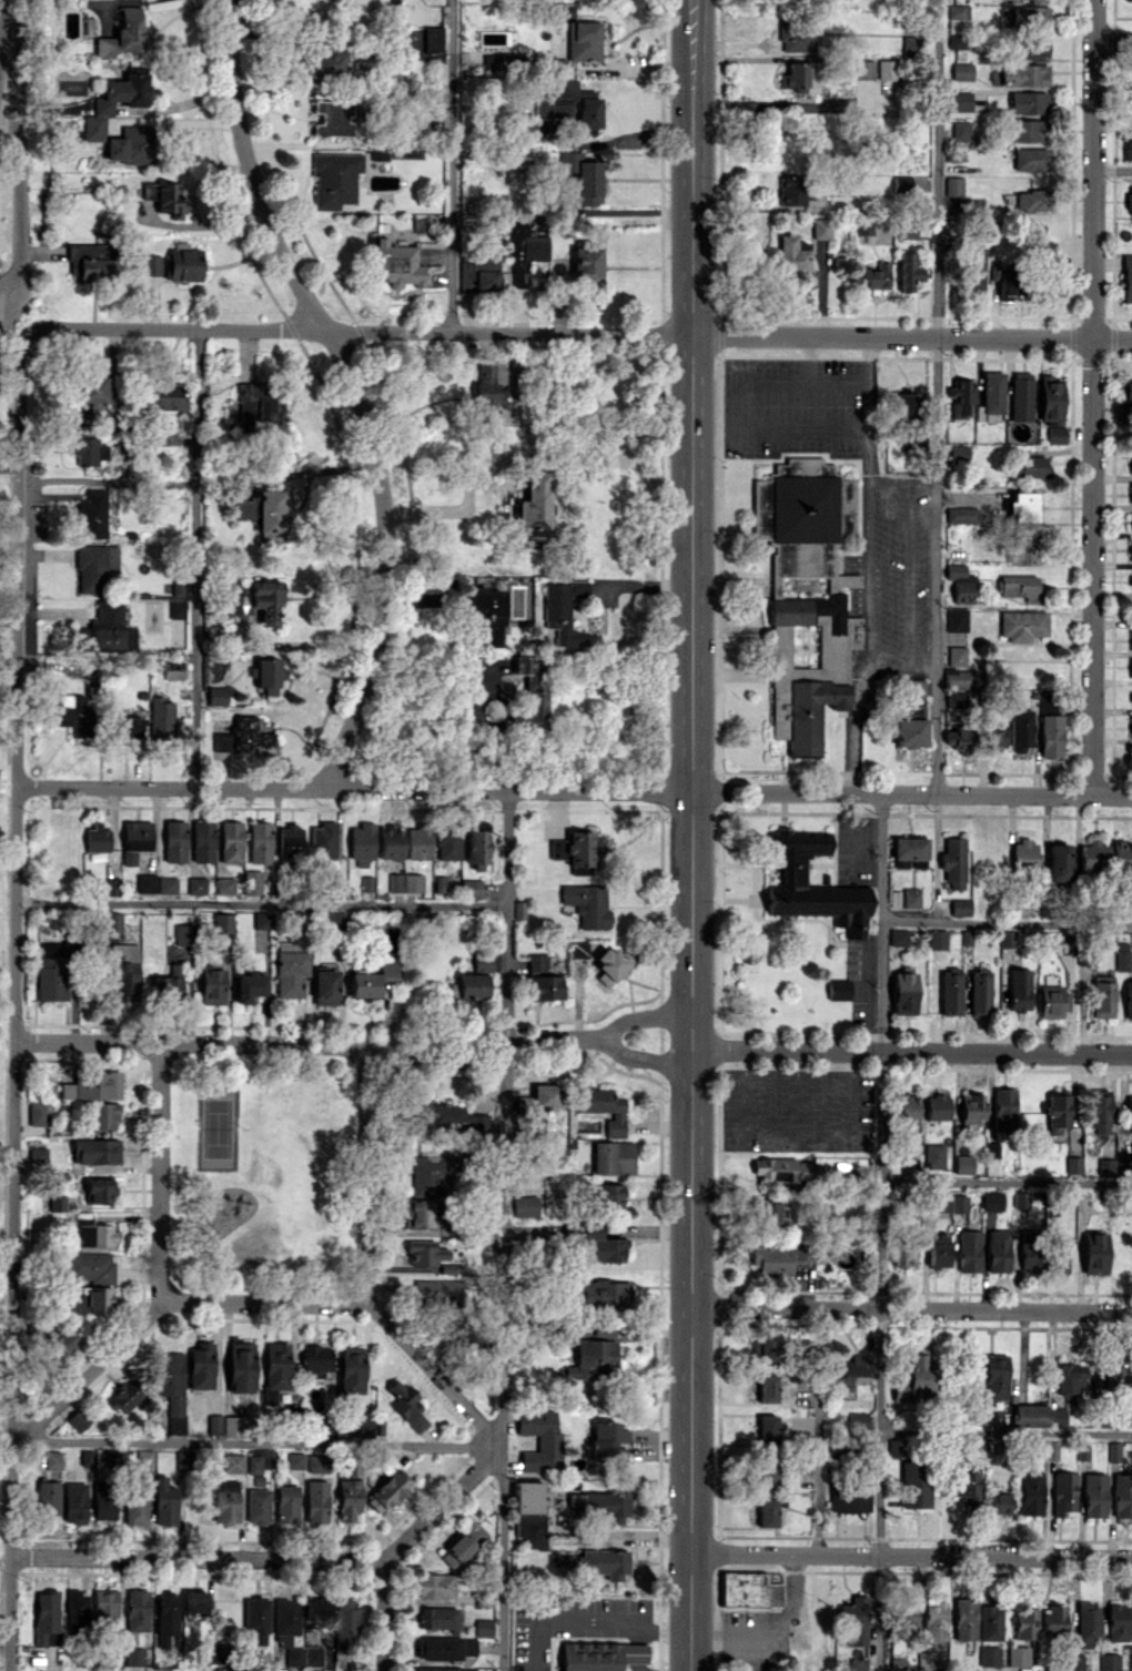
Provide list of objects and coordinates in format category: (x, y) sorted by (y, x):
building: (1129, 0)
building: (1035, 1)
building: (958, 11)
building: (1029, 16)
building: (121, 34)
building: (796, 34)
building: (492, 38)
building: (433, 39)
road: (1113, 39)
road: (3, 41)
building: (584, 41)
building: (958, 41)
building: (911, 44)
building: (1032, 49)
building: (327, 63)
building: (865, 69)
building: (887, 69)
building: (961, 71)
building: (1023, 74)
building: (798, 79)
road: (1, 85)
building: (957, 100)
building: (1028, 101)
building: (102, 107)
building: (588, 112)
building: (332, 118)
building: (961, 130)
building: (1027, 130)
building: (131, 144)
building: (1128, 149)
building: (1030, 159)
road: (452, 166)
road: (1113, 169)
building: (334, 179)
building: (587, 182)
building: (911, 183)
building: (953, 185)
road: (16, 190)
building: (791, 190)
building: (165, 198)
building: (1028, 200)
building: (1129, 200)
road: (630, 209)
road: (195, 223)
building: (865, 226)
building: (821, 227)
building: (908, 230)
building: (525, 252)
building: (791, 253)
building: (90, 260)
building: (396, 263)
building: (151, 264)
building: (184, 264)
building: (586, 264)
building: (908, 272)
building: (478, 274)
building: (875, 275)
building: (973, 275)
building: (1128, 277)
building: (1004, 282)
building: (1052, 282)
road: (357, 332)
road: (911, 336)
building: (485, 383)
road: (776, 384)
road: (840, 384)
road: (353, 387)
building: (92, 388)
building: (1125, 389)
building: (165, 394)
road: (937, 396)
building: (991, 396)
building: (1021, 396)
road: (1092, 396)
building: (961, 397)
building: (1050, 399)
building: (906, 405)
building: (1123, 413)
road: (779, 426)
building: (1055, 434)
building: (88, 449)
building: (959, 453)
building: (1131, 464)
building: (1031, 466)
road: (312, 469)
road: (886, 478)
road: (921, 479)
road: (107, 483)
building: (1131, 493)
building: (1022, 505)
building: (533, 506)
building: (263, 513)
building: (92, 514)
building: (962, 515)
building: (1131, 521)
building: (1023, 546)
building: (1131, 550)
road: (194, 557)
road: (17, 558)
road: (865, 565)
building: (91, 568)
road: (907, 575)
building: (960, 577)
building: (178, 586)
building: (1018, 586)
building: (806, 594)
building: (266, 599)
building: (176, 608)
building: (109, 611)
building: (563, 611)
building: (489, 617)
building: (957, 619)
building: (1022, 625)
building: (100, 636)
building: (1131, 639)
building: (957, 656)
building: (1131, 668)
building: (173, 669)
road: (888, 672)
building: (266, 675)
building: (960, 678)
building: (914, 687)
building: (216, 695)
building: (534, 697)
building: (916, 711)
building: (73, 715)
building: (161, 718)
building: (128, 726)
building: (1131, 726)
building: (1020, 730)
building: (909, 731)
building: (1051, 735)
building: (995, 736)
building: (249, 737)
building: (960, 738)
building: (222, 741)
road: (574, 789)
road: (693, 835)
building: (97, 837)
building: (134, 839)
building: (290, 840)
building: (323, 840)
building: (174, 841)
building: (203, 841)
building: (231, 841)
building: (260, 841)
building: (418, 841)
building: (390, 842)
road: (16, 843)
building: (447, 844)
building: (476, 847)
road: (933, 848)
building: (574, 851)
building: (909, 851)
building: (1121, 851)
building: (1023, 853)
building: (1093, 855)
building: (1058, 861)
building: (953, 862)
building: (790, 870)
building: (252, 882)
building: (394, 882)
building: (413, 882)
building: (145, 883)
building: (168, 884)
building: (196, 885)
building: (224, 885)
building: (472, 888)
building: (896, 897)
building: (910, 898)
road: (262, 903)
building: (587, 903)
building: (960, 907)
building: (263, 919)
building: (113, 922)
building: (222, 922)
road: (1007, 922)
building: (183, 933)
building: (898, 936)
building: (964, 936)
building: (1007, 938)
building: (937, 939)
building: (1065, 944)
building: (578, 949)
building: (1122, 955)
building: (482, 962)
building: (537, 962)
building: (609, 964)
building: (291, 968)
road: (16, 971)
building: (51, 971)
building: (124, 972)
building: (372, 980)
building: (170, 981)
building: (211, 983)
building: (469, 985)
building: (249, 986)
building: (325, 986)
building: (545, 986)
building: (838, 989)
building: (1019, 989)
building: (950, 991)
building: (979, 991)
building: (903, 993)
building: (1102, 995)
building: (1128, 999)
building: (1052, 1000)
road: (647, 1016)
road: (314, 1043)
road: (911, 1051)
road: (647, 1056)
building: (92, 1085)
building: (546, 1095)
building: (603, 1106)
building: (936, 1106)
building: (971, 1107)
building: (1004, 1108)
building: (1129, 1110)
building: (1057, 1111)
building: (38, 1112)
building: (907, 1113)
building: (1098, 1113)
building: (103, 1116)
park: (219, 1127)
building: (95, 1151)
building: (38, 1155)
building: (613, 1156)
building: (933, 1156)
building: (1124, 1162)
building: (962, 1164)
building: (1073, 1164)
building: (1105, 1166)
building: (784, 1169)
building: (838, 1169)
road: (162, 1171)
park: (262, 1172)
road: (365, 1173)
building: (433, 1173)
road: (1005, 1183)
building: (99, 1191)
building: (606, 1195)
building: (1020, 1198)
building: (992, 1201)
building: (948, 1202)
building: (57, 1203)
building: (525, 1205)
building: (769, 1213)
building: (417, 1214)
building: (487, 1227)
road: (505, 1229)
road: (880, 1232)
building: (95, 1235)
road: (14, 1239)
building: (600, 1246)
building: (998, 1249)
building: (1030, 1249)
building: (938, 1250)
building: (968, 1250)
building: (425, 1253)
building: (1094, 1253)
building: (903, 1255)
building: (1060, 1256)
building: (771, 1259)
building: (90, 1267)
building: (446, 1267)
building: (436, 1292)
building: (605, 1293)
building: (91, 1300)
road: (263, 1300)
road: (911, 1308)
building: (62, 1343)
building: (765, 1344)
building: (315, 1358)
building: (594, 1358)
building: (241, 1365)
building: (200, 1366)
building: (352, 1368)
road: (88, 1369)
building: (275, 1369)
road: (434, 1373)
building: (848, 1374)
building: (995, 1376)
building: (1069, 1377)
building: (1113, 1377)
building: (913, 1378)
building: (171, 1387)
building: (767, 1387)
building: (124, 1396)
building: (406, 1405)
building: (1029, 1415)
building: (1057, 1416)
building: (857, 1420)
building: (214, 1424)
building: (232, 1425)
building: (361, 1426)
building: (768, 1429)
road: (819, 1430)
road: (1005, 1434)
building: (539, 1439)
building: (607, 1440)
road: (259, 1441)
building: (838, 1446)
building: (1051, 1450)
building: (973, 1451)
building: (1113, 1451)
building: (87, 1457)
building: (112, 1457)
building: (143, 1458)
building: (52, 1459)
building: (183, 1459)
building: (294, 1460)
building: (233, 1462)
building: (317, 1462)
building: (254, 1464)
building: (387, 1465)
building: (766, 1470)
building: (914, 1483)
building: (968, 1488)
building: (388, 1490)
building: (1029, 1492)
building: (1063, 1492)
building: (1094, 1495)
building: (1122, 1495)
road: (11, 1497)
building: (529, 1497)
building: (850, 1497)
building: (348, 1499)
building: (103, 1500)
building: (135, 1500)
building: (48, 1501)
building: (164, 1501)
building: (226, 1501)
building: (316, 1501)
road: (445, 1501)
building: (74, 1502)
building: (286, 1502)
building: (998, 1502)
building: (603, 1505)
building: (257, 1506)
building: (767, 1512)
building: (530, 1530)
building: (462, 1545)
road: (911, 1554)
road: (198, 1557)
building: (604, 1562)
building: (435, 1586)
building: (749, 1590)
building: (194, 1600)
building: (105, 1606)
building: (77, 1607)
building: (137, 1610)
building: (316, 1610)
road: (9, 1613)
road: (384, 1614)
building: (46, 1617)
building: (1054, 1617)
building: (166, 1618)
building: (437, 1618)
building: (855, 1619)
building: (904, 1619)
building: (934, 1619)
building: (964, 1619)
building: (256, 1620)
road: (587, 1620)
building: (991, 1622)
building: (1086, 1622)
building: (1116, 1622)
building: (1025, 1623)
building: (344, 1626)
building: (483, 1627)
building: (287, 1628)
road: (772, 1631)
road: (636, 1634)
building: (445, 1647)
building: (222, 1652)
road: (636, 1653)
building: (134, 1655)
building: (312, 1655)
building: (600, 1655)
building: (989, 1655)
building: (1018, 1655)
building: (1131, 1659)
building: (926, 1660)
building: (1077, 1662)
building: (1109, 1662)
building: (897, 1663)
road: (637, 1667)
building: (444, 1669)

